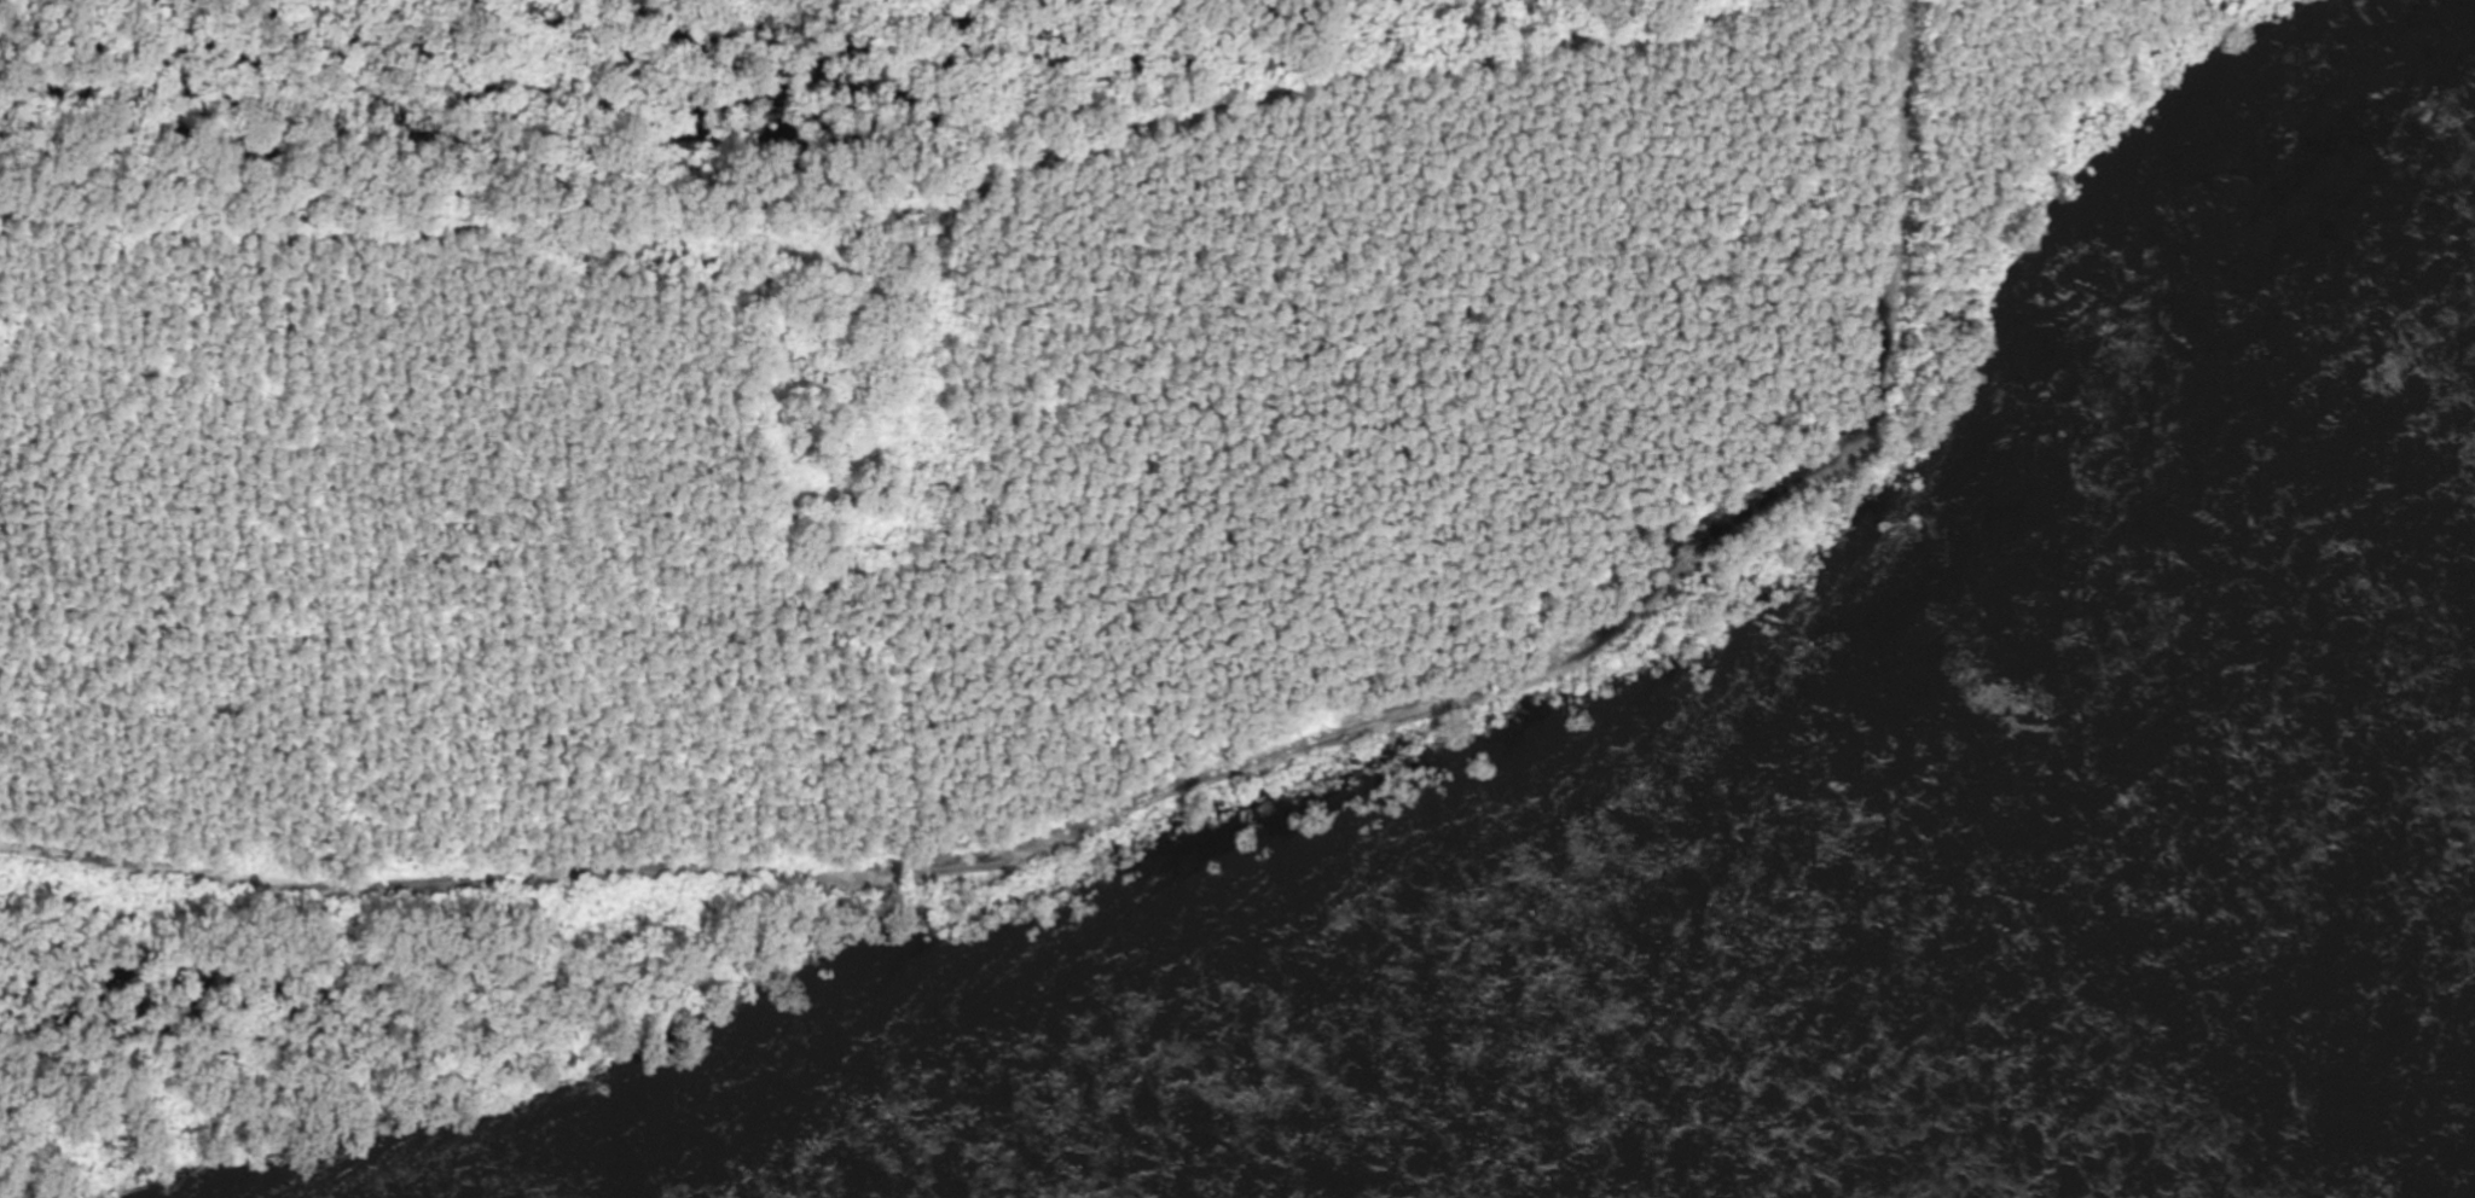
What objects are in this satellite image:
road: (1896, 215)

